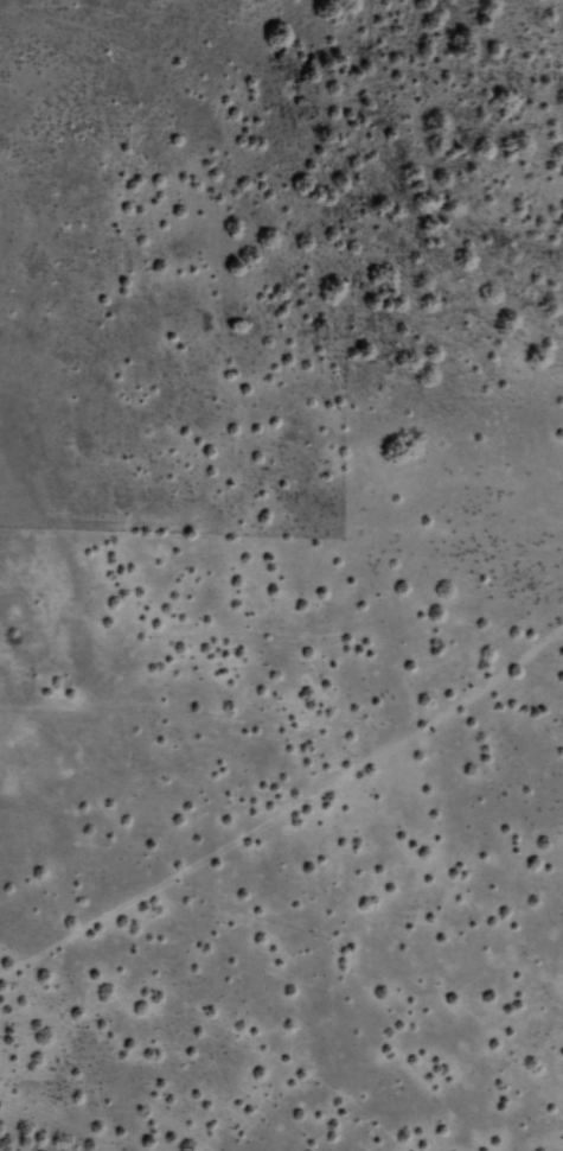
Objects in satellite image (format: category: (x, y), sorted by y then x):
road: (290, 800)

